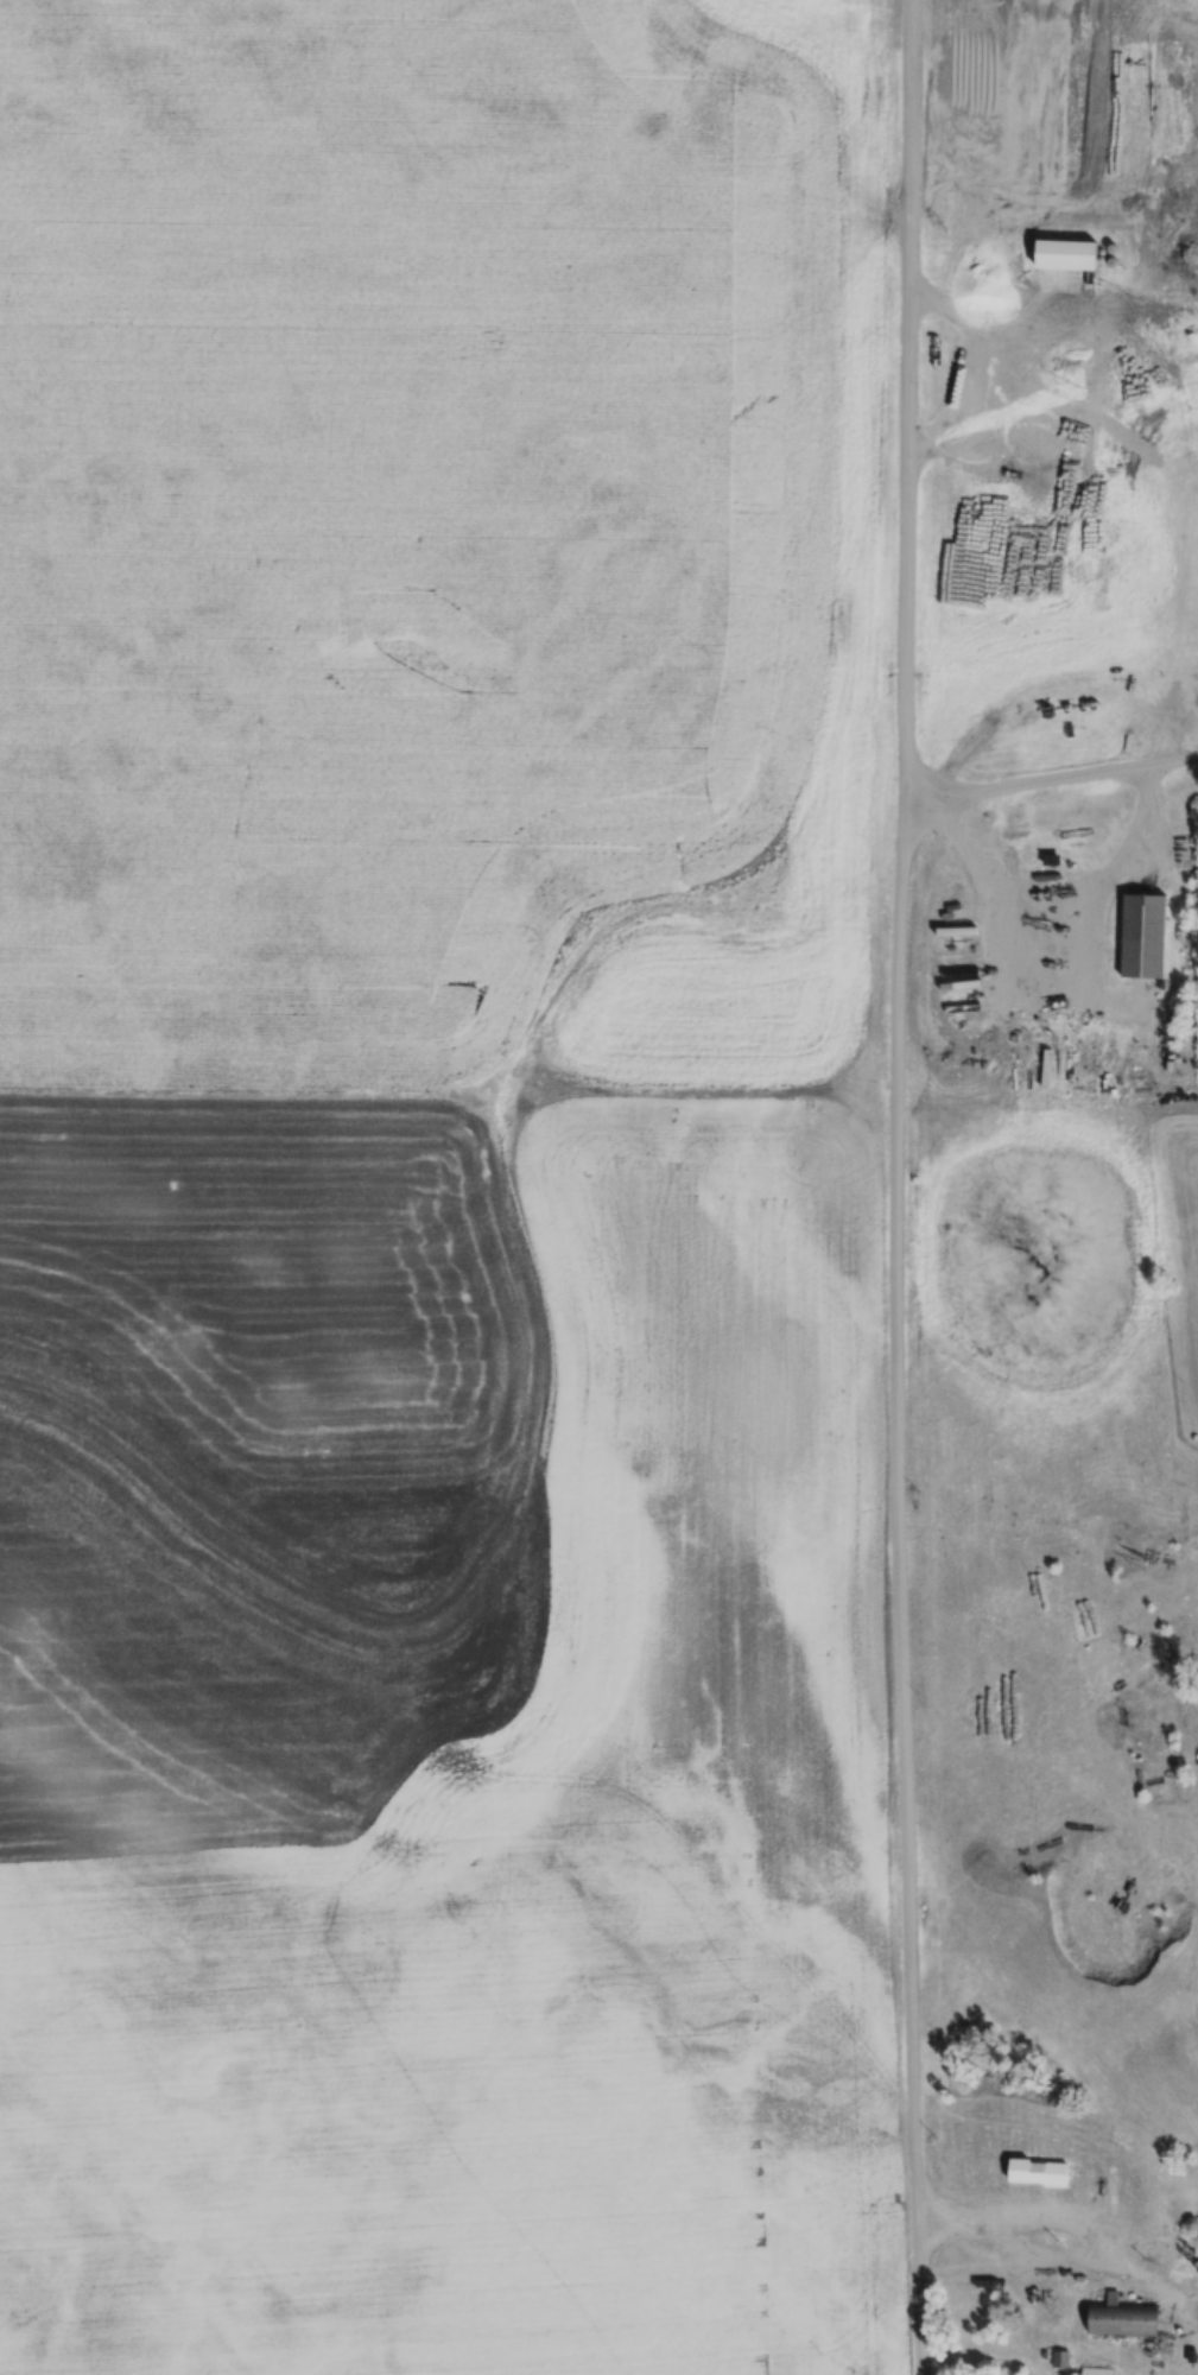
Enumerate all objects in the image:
road: (1053, 778)
building: (1142, 935)
road: (901, 1187)
building: (1039, 2171)
road: (1103, 2246)
building: (1122, 2318)

